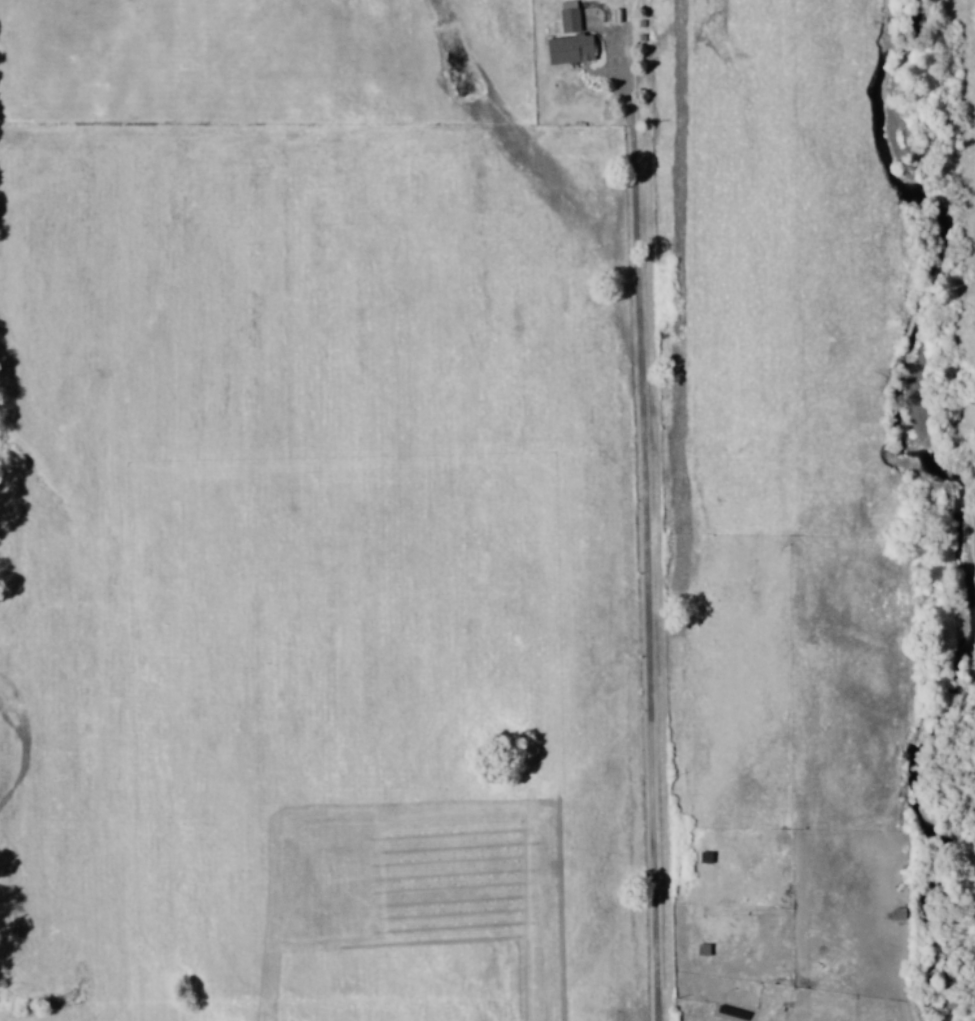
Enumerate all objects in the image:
building: (571, 41)

